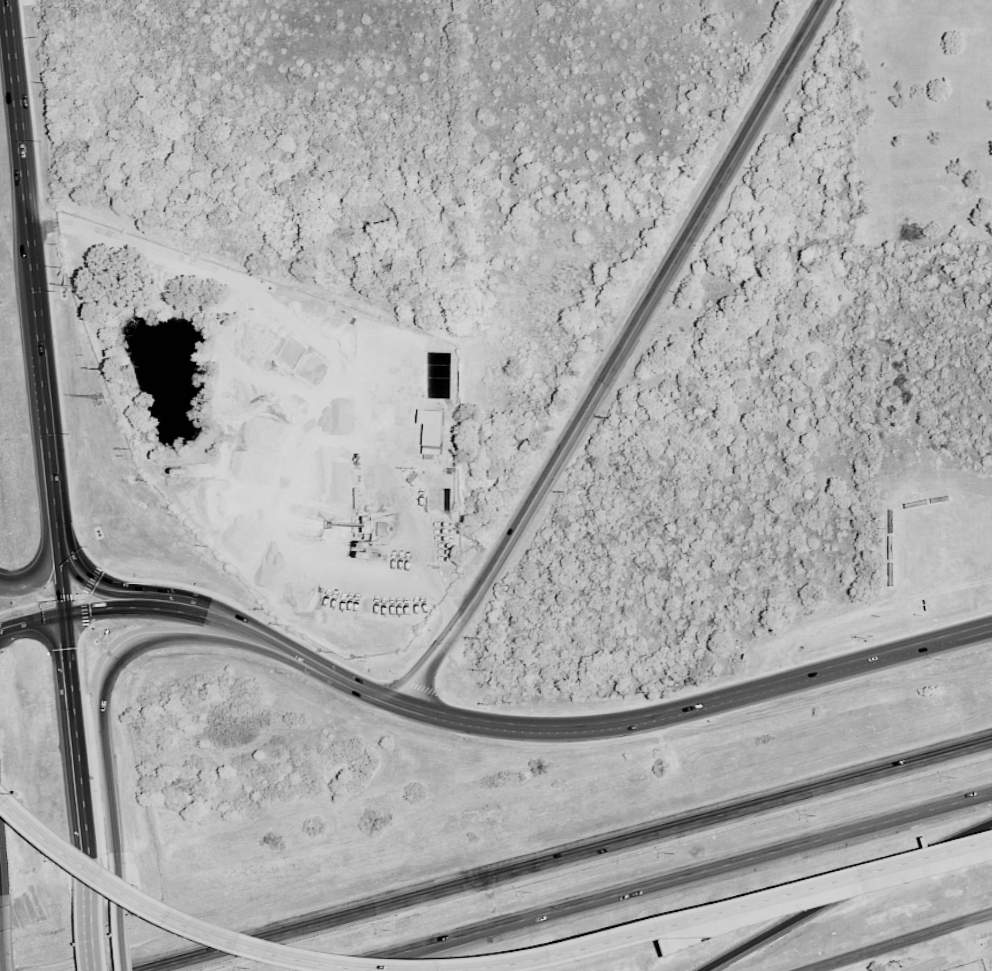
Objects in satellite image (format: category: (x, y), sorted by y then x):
road: (16, 112)
park: (921, 122)
road: (34, 289)
road: (317, 348)
road: (620, 354)
building: (431, 431)
road: (50, 449)
building: (910, 492)
building: (941, 498)
building: (916, 504)
building: (892, 521)
building: (892, 547)
building: (892, 575)
road: (36, 576)
road: (63, 578)
road: (95, 585)
building: (956, 605)
traffic signals: (67, 611)
road: (848, 617)
road: (108, 680)
road: (489, 722)
road: (77, 741)
road: (571, 860)
road: (660, 881)
road: (844, 891)
road: (122, 917)
road: (728, 917)
road: (93, 921)
road: (195, 922)
road: (3, 937)
road: (901, 942)
road: (966, 947)
road: (878, 961)

